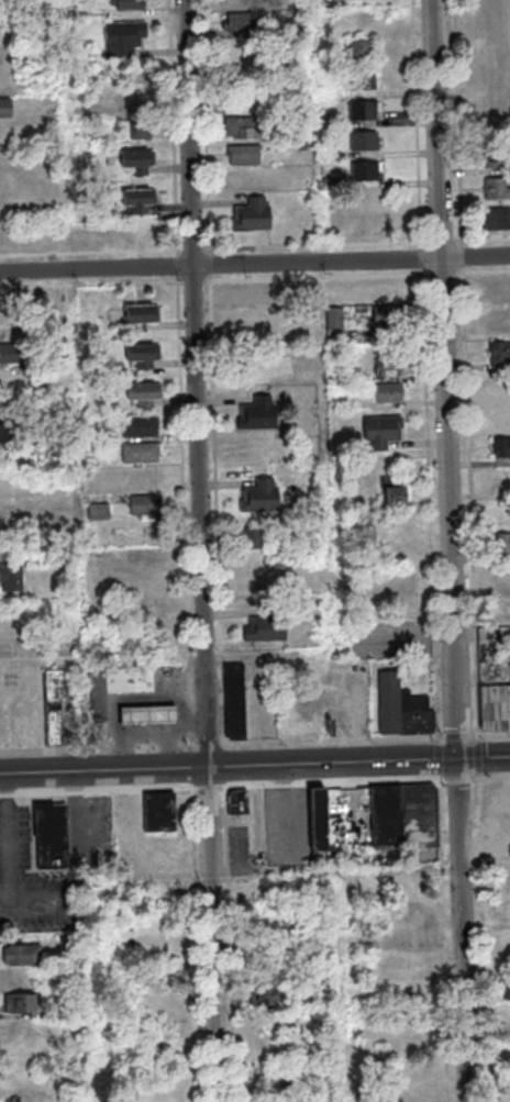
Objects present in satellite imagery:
building: (132, 4)
building: (245, 25)
building: (298, 27)
building: (126, 40)
building: (364, 51)
park: (485, 59)
building: (250, 70)
building: (364, 80)
building: (240, 99)
building: (137, 102)
building: (7, 110)
building: (366, 111)
road: (462, 123)
road: (420, 124)
road: (177, 127)
road: (209, 127)
building: (138, 131)
building: (246, 131)
building: (367, 142)
building: (304, 148)
building: (333, 155)
building: (247, 156)
building: (498, 157)
building: (141, 162)
building: (368, 171)
building: (334, 183)
building: (498, 189)
building: (141, 202)
building: (255, 219)
building: (500, 221)
road: (483, 237)
road: (443, 242)
road: (376, 244)
road: (264, 248)
road: (184, 251)
road: (197, 251)
road: (464, 257)
road: (423, 258)
road: (254, 263)
road: (212, 265)
road: (180, 267)
road: (483, 272)
road: (443, 274)
road: (319, 278)
road: (196, 282)
road: (131, 283)
building: (250, 294)
building: (143, 315)
building: (390, 315)
building: (336, 319)
building: (501, 352)
building: (10, 353)
building: (145, 355)
building: (389, 366)
building: (254, 371)
building: (351, 372)
building: (8, 380)
building: (389, 392)
building: (146, 393)
building: (259, 414)
building: (502, 418)
building: (141, 426)
building: (382, 431)
building: (11, 433)
building: (503, 447)
building: (143, 452)
building: (395, 489)
building: (262, 497)
road: (472, 503)
road: (430, 504)
building: (147, 505)
building: (100, 511)
road: (218, 513)
road: (186, 514)
building: (254, 539)
building: (505, 544)
road: (203, 550)
road: (454, 550)
building: (255, 575)
building: (11, 577)
building: (267, 623)
parking lot: (392, 639)
road: (404, 652)
building: (131, 678)
road: (124, 699)
building: (56, 702)
building: (236, 702)
building: (391, 703)
building: (496, 708)
building: (99, 709)
building: (149, 714)
building: (417, 715)
road: (160, 727)
road: (491, 735)
road: (458, 737)
road: (332, 743)
road: (209, 746)
road: (173, 747)
road: (98, 749)
road: (479, 756)
road: (193, 758)
road: (441, 758)
traffic signals: (461, 758)
road: (254, 765)
road: (491, 778)
road: (459, 779)
road: (334, 784)
road: (210, 788)
road: (99, 792)
building: (240, 802)
building: (162, 812)
road: (229, 812)
building: (387, 815)
building: (420, 815)
building: (134, 816)
building: (320, 820)
road: (441, 820)
road: (237, 821)
road: (196, 831)
building: (52, 835)
parking lot: (91, 837)
parking lot: (242, 853)
road: (486, 864)
road: (241, 865)
road: (452, 866)
road: (203, 873)
road: (5, 905)
road: (42, 905)
road: (485, 937)
building: (78, 947)
building: (24, 954)
building: (508, 989)
building: (264, 994)
building: (22, 1003)
building: (78, 1008)
road: (459, 1077)
road: (450, 1090)

